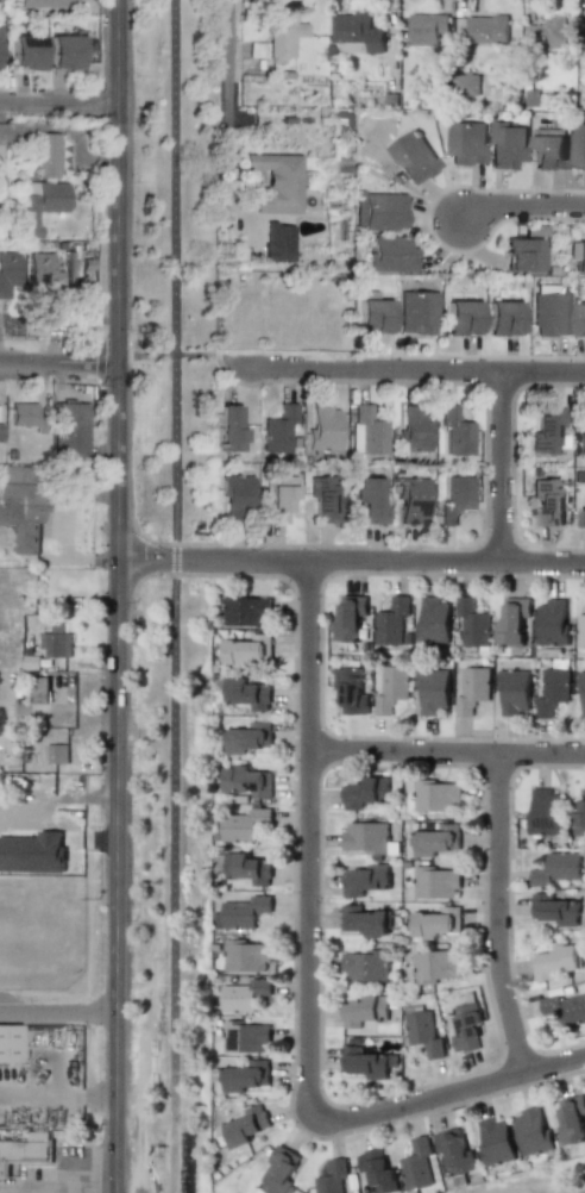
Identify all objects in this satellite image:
building: (46, 4)
building: (583, 24)
building: (426, 27)
building: (486, 27)
building: (356, 32)
building: (546, 33)
building: (282, 36)
building: (0, 52)
building: (26, 52)
building: (64, 52)
building: (465, 82)
road: (57, 101)
road: (229, 101)
building: (547, 131)
building: (465, 143)
building: (505, 145)
building: (577, 146)
building: (548, 152)
building: (46, 155)
building: (413, 156)
building: (272, 181)
building: (38, 204)
road: (520, 206)
building: (379, 211)
building: (277, 242)
building: (523, 254)
building: (390, 255)
building: (579, 257)
building: (43, 271)
building: (8, 273)
building: (416, 312)
building: (551, 313)
building: (372, 316)
building: (460, 317)
building: (502, 318)
building: (580, 319)
road: (57, 358)
road: (415, 374)
building: (21, 414)
building: (322, 427)
building: (366, 427)
building: (411, 427)
building: (69, 429)
building: (228, 429)
building: (277, 429)
building: (545, 430)
building: (454, 431)
building: (583, 431)
road: (498, 470)
building: (321, 495)
building: (279, 496)
building: (411, 499)
building: (455, 499)
building: (369, 500)
building: (545, 501)
building: (20, 505)
building: (581, 512)
road: (350, 566)
road: (115, 596)
road: (174, 596)
building: (247, 610)
building: (348, 618)
building: (434, 619)
building: (512, 619)
building: (390, 623)
building: (472, 623)
building: (552, 623)
building: (580, 630)
building: (56, 642)
building: (249, 650)
building: (391, 688)
building: (472, 689)
building: (553, 689)
building: (350, 691)
building: (433, 691)
building: (514, 692)
building: (581, 692)
building: (246, 693)
building: (247, 737)
building: (56, 754)
road: (446, 754)
building: (247, 781)
building: (364, 792)
building: (433, 794)
building: (543, 811)
building: (579, 816)
building: (245, 823)
building: (365, 837)
building: (435, 839)
building: (32, 852)
building: (556, 867)
building: (247, 868)
building: (364, 879)
building: (436, 882)
building: (554, 910)
building: (241, 912)
road: (497, 917)
building: (364, 920)
building: (439, 922)
building: (245, 955)
building: (555, 961)
building: (365, 964)
building: (434, 966)
road: (308, 987)
building: (244, 994)
building: (565, 1007)
building: (364, 1010)
road: (58, 1014)
building: (466, 1026)
building: (423, 1032)
building: (246, 1036)
building: (8, 1044)
building: (366, 1062)
building: (245, 1075)
road: (57, 1095)
building: (572, 1119)
building: (246, 1126)
building: (533, 1131)
building: (496, 1141)
building: (457, 1150)
building: (25, 1151)
building: (417, 1163)
building: (282, 1170)
building: (378, 1170)
building: (333, 1176)
road: (62, 1185)
road: (78, 1188)
building: (263, 1191)

